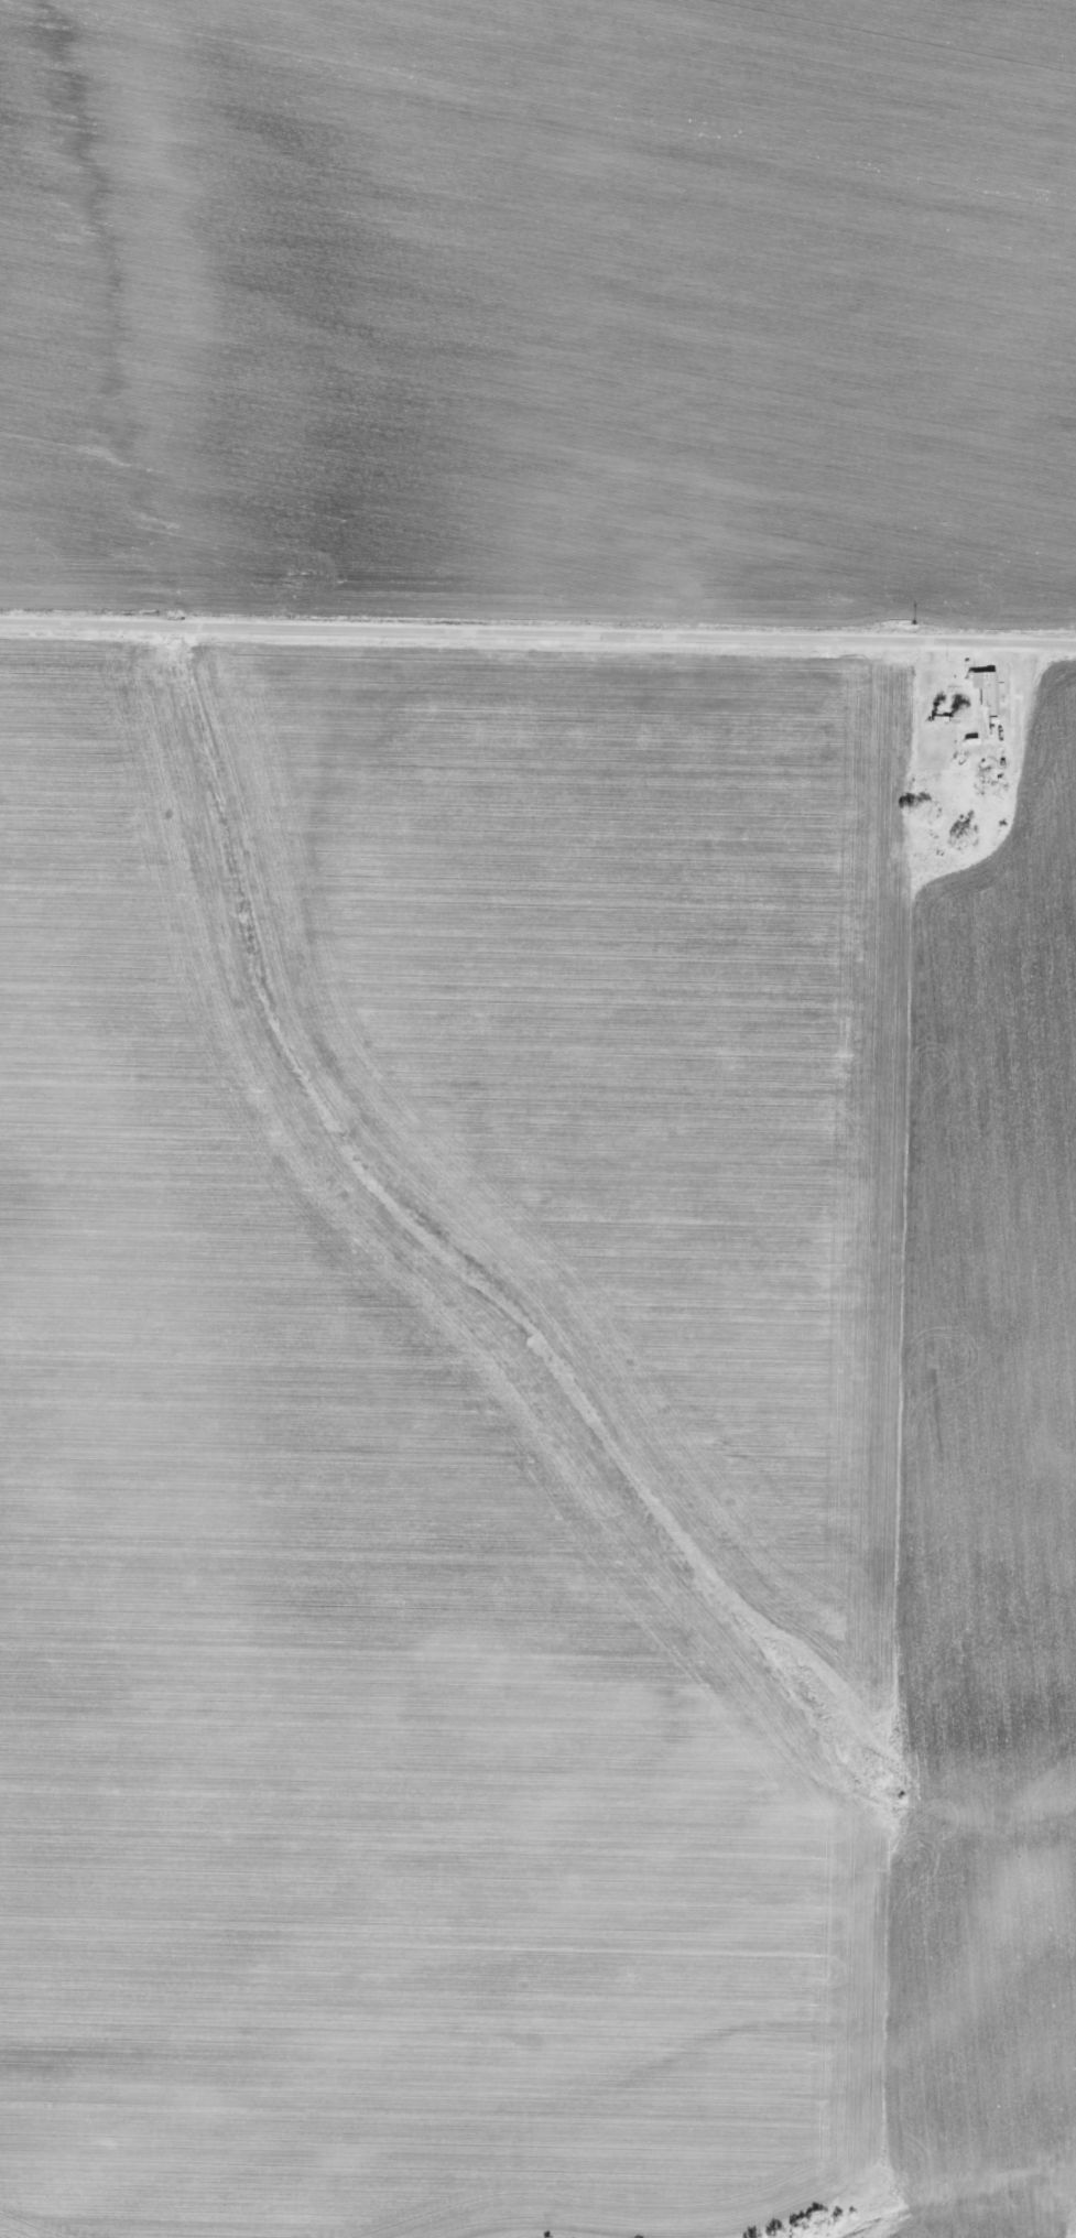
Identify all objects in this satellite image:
road: (537, 631)
building: (982, 688)

